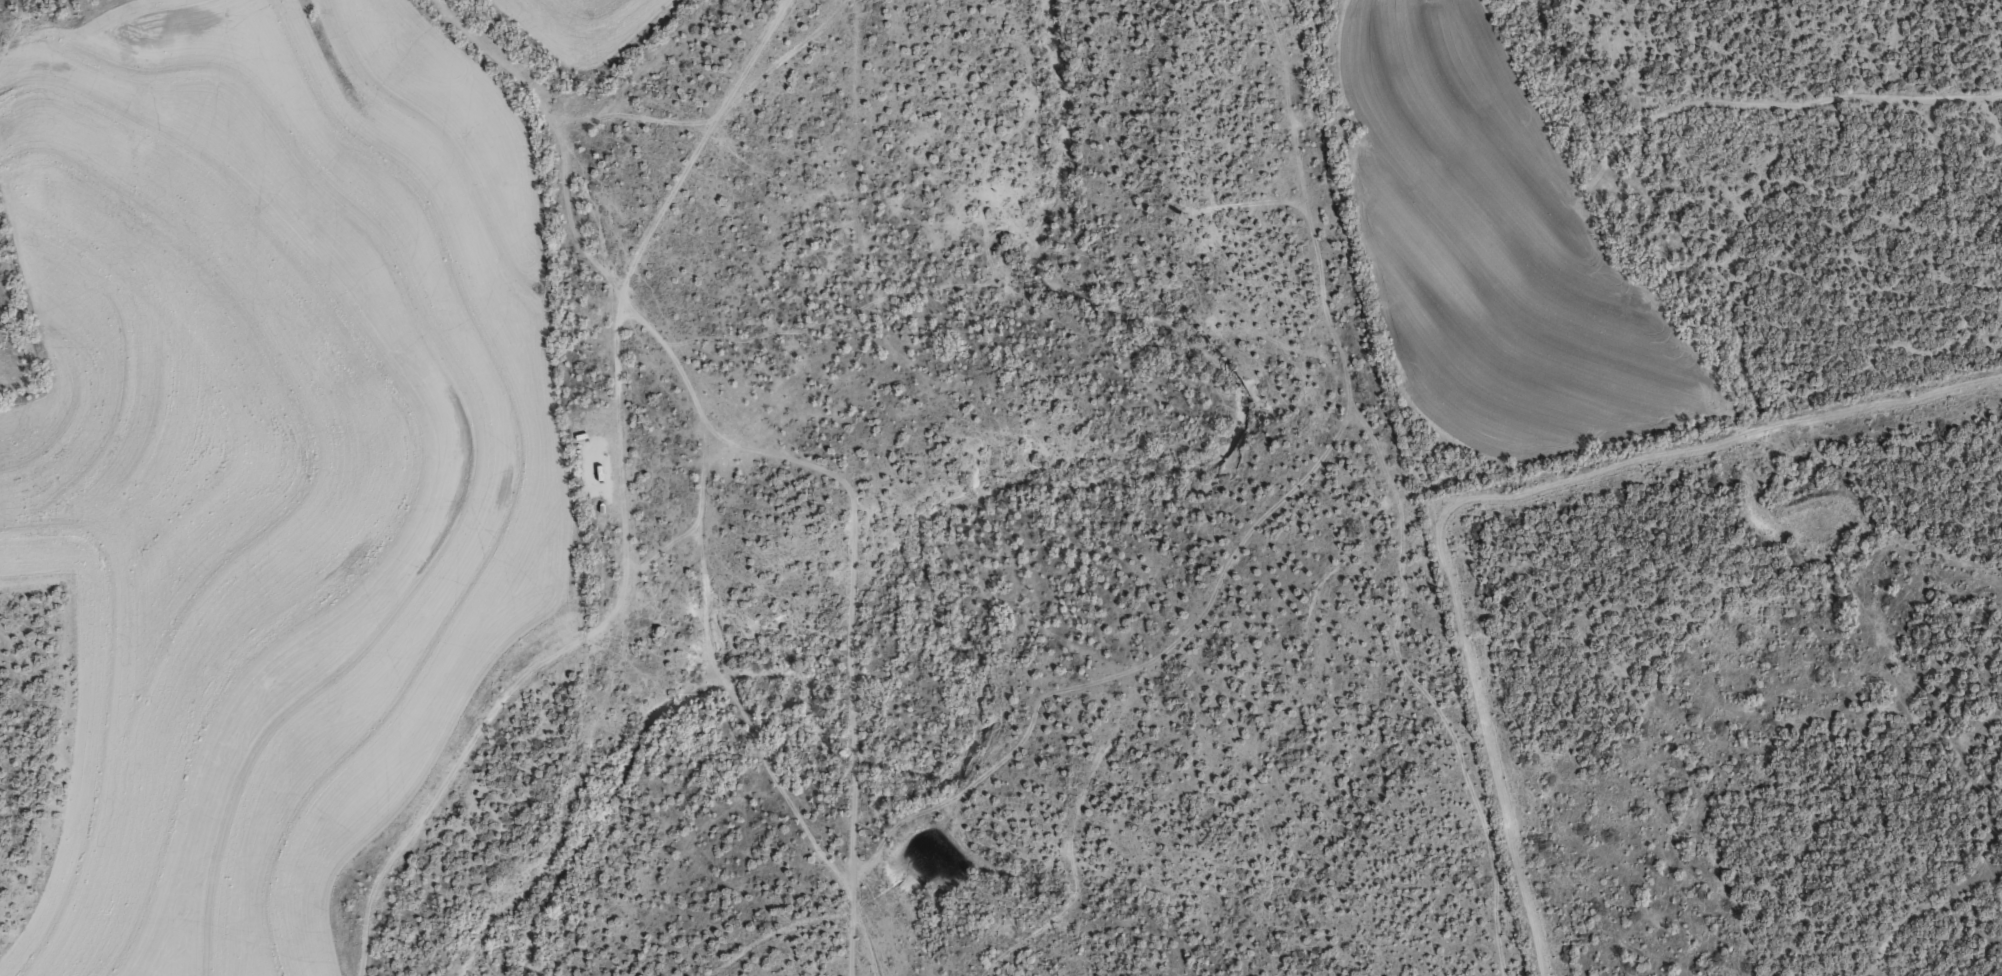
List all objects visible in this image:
road: (678, 469)
road: (1934, 884)

